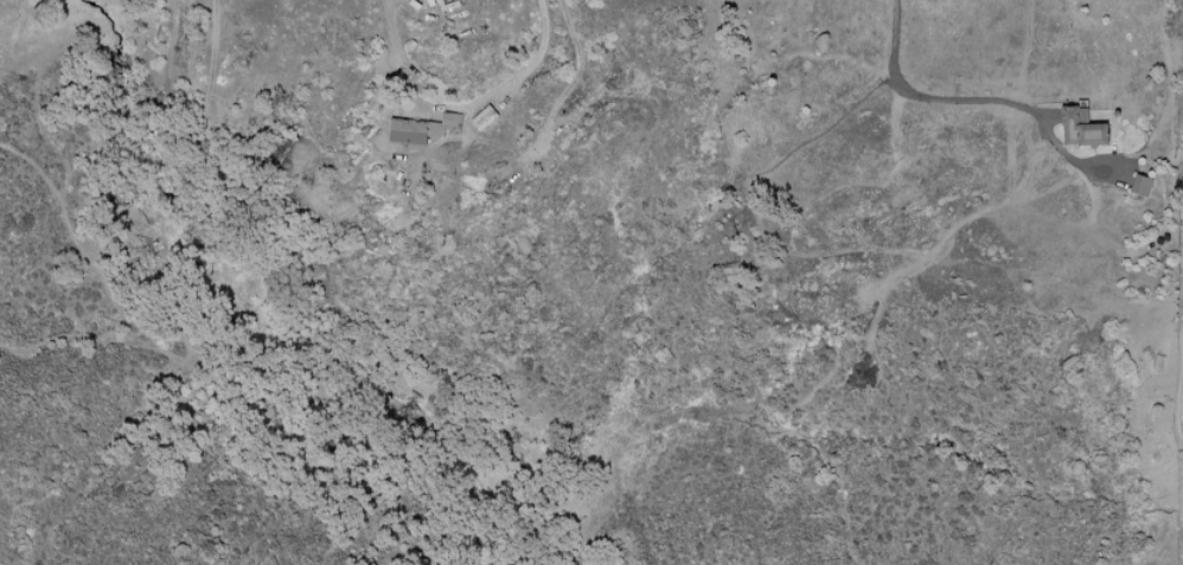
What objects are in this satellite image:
road: (928, 95)
road: (458, 104)
building: (484, 117)
building: (1081, 127)
building: (423, 128)
building: (1140, 185)

